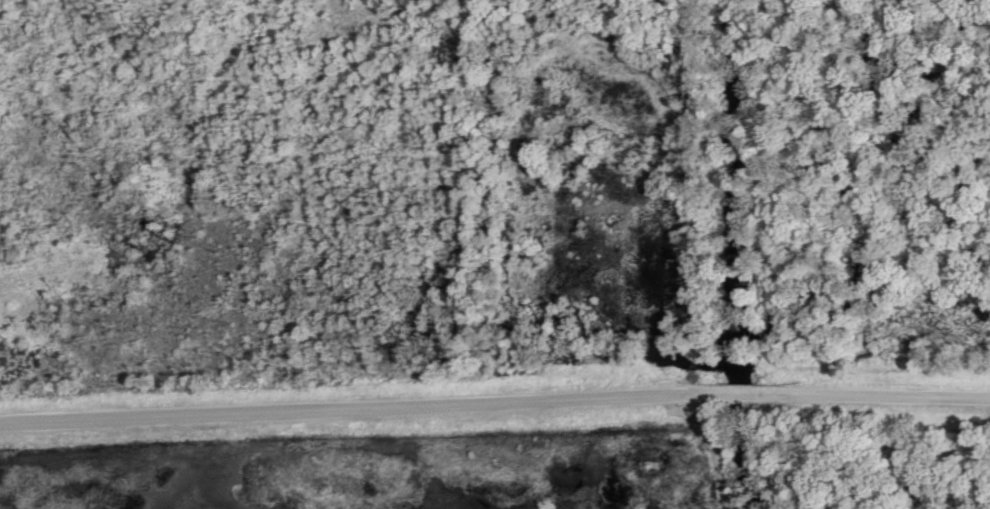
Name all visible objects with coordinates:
park: (495, 254)
road: (740, 395)
road: (889, 397)
road: (346, 407)

